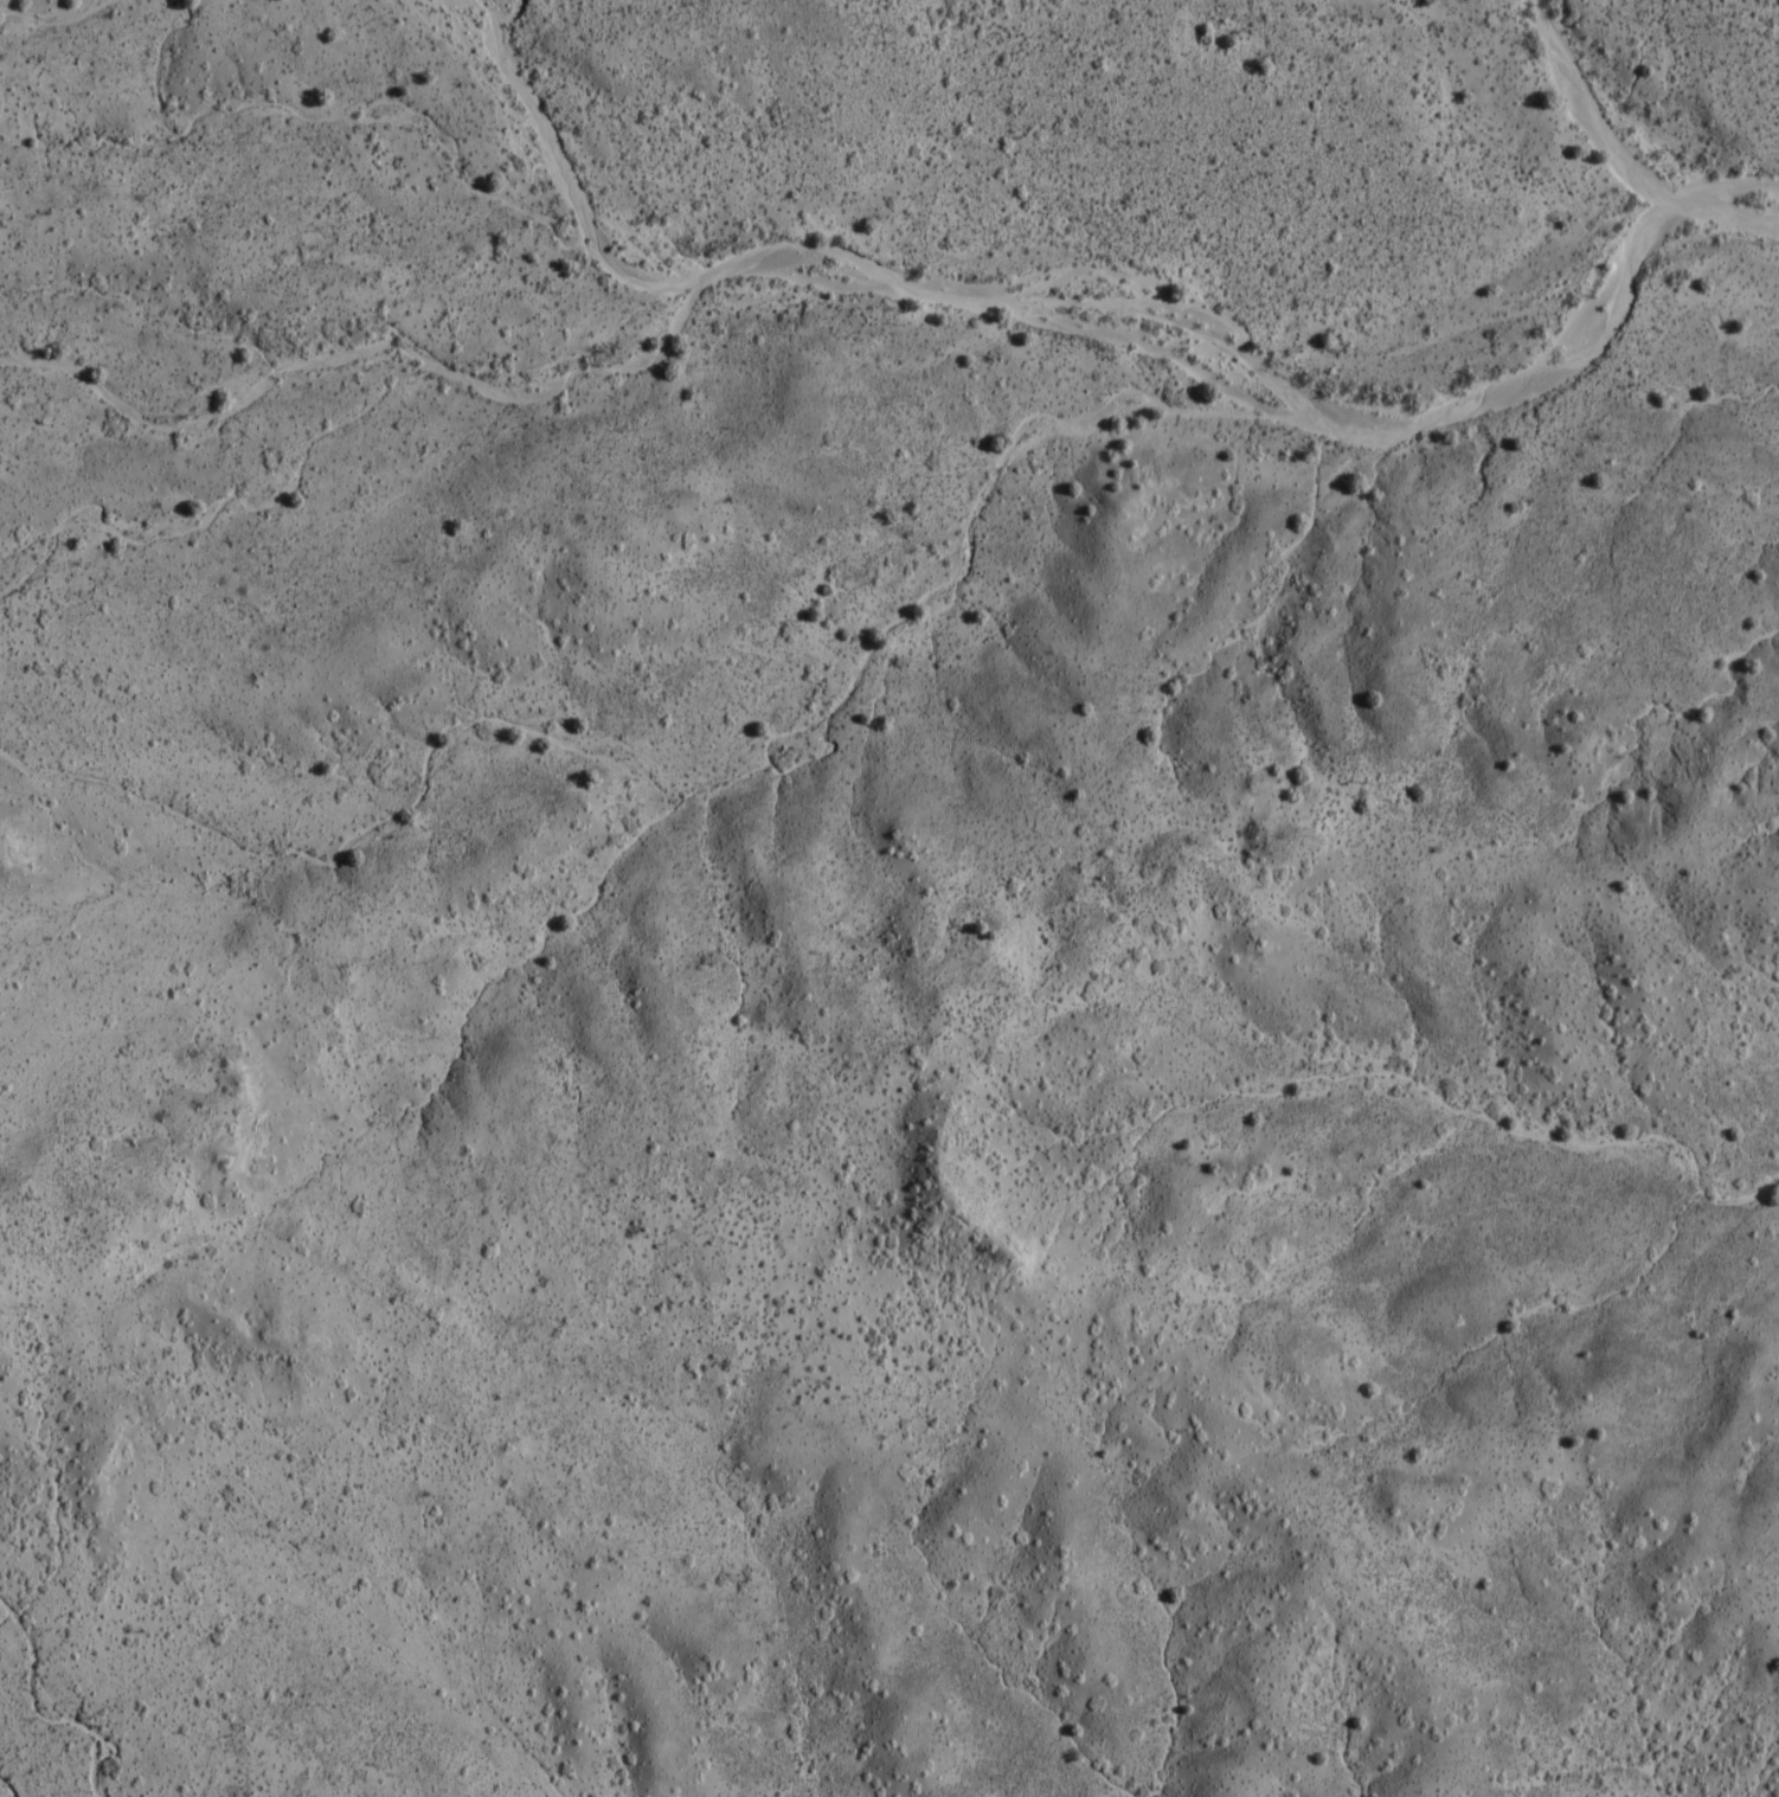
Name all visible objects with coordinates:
river: (1595, 122)
river: (1142, 303)
river: (1097, 330)

